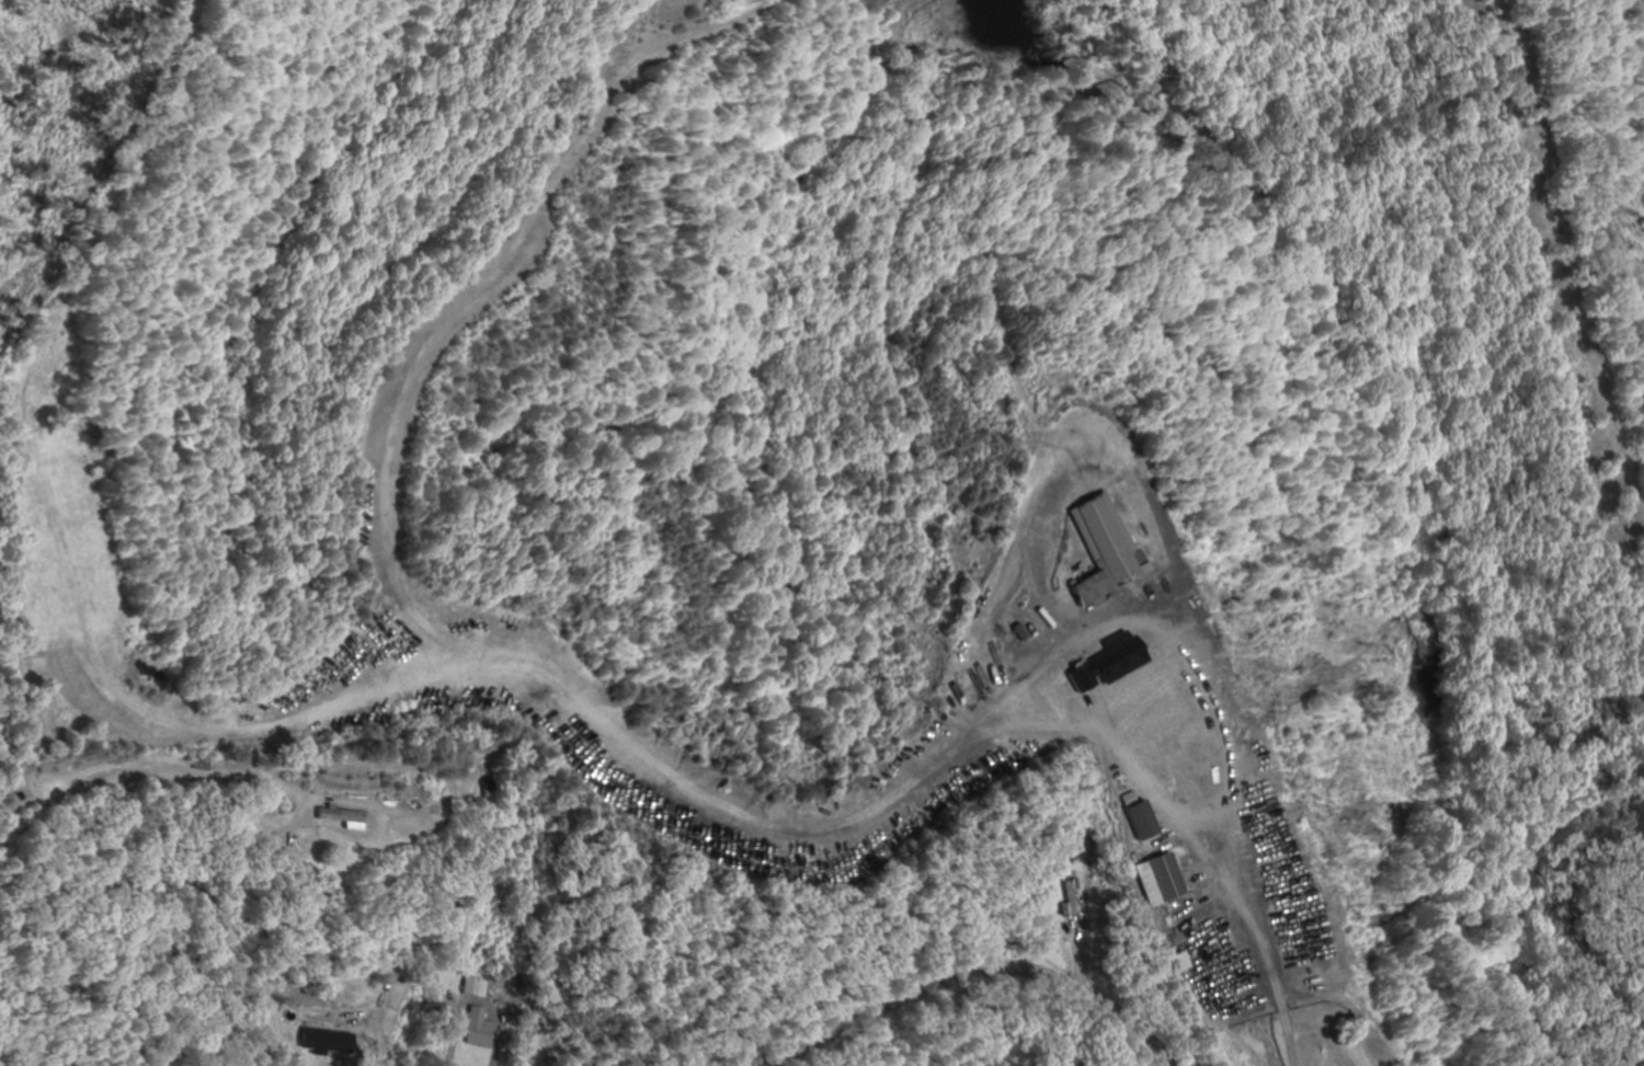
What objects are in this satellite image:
building: (1093, 551)
building: (201, 765)
building: (336, 816)
building: (1160, 879)
building: (1072, 898)
road: (970, 975)
road: (1312, 995)
building: (478, 1030)
building: (313, 1042)

